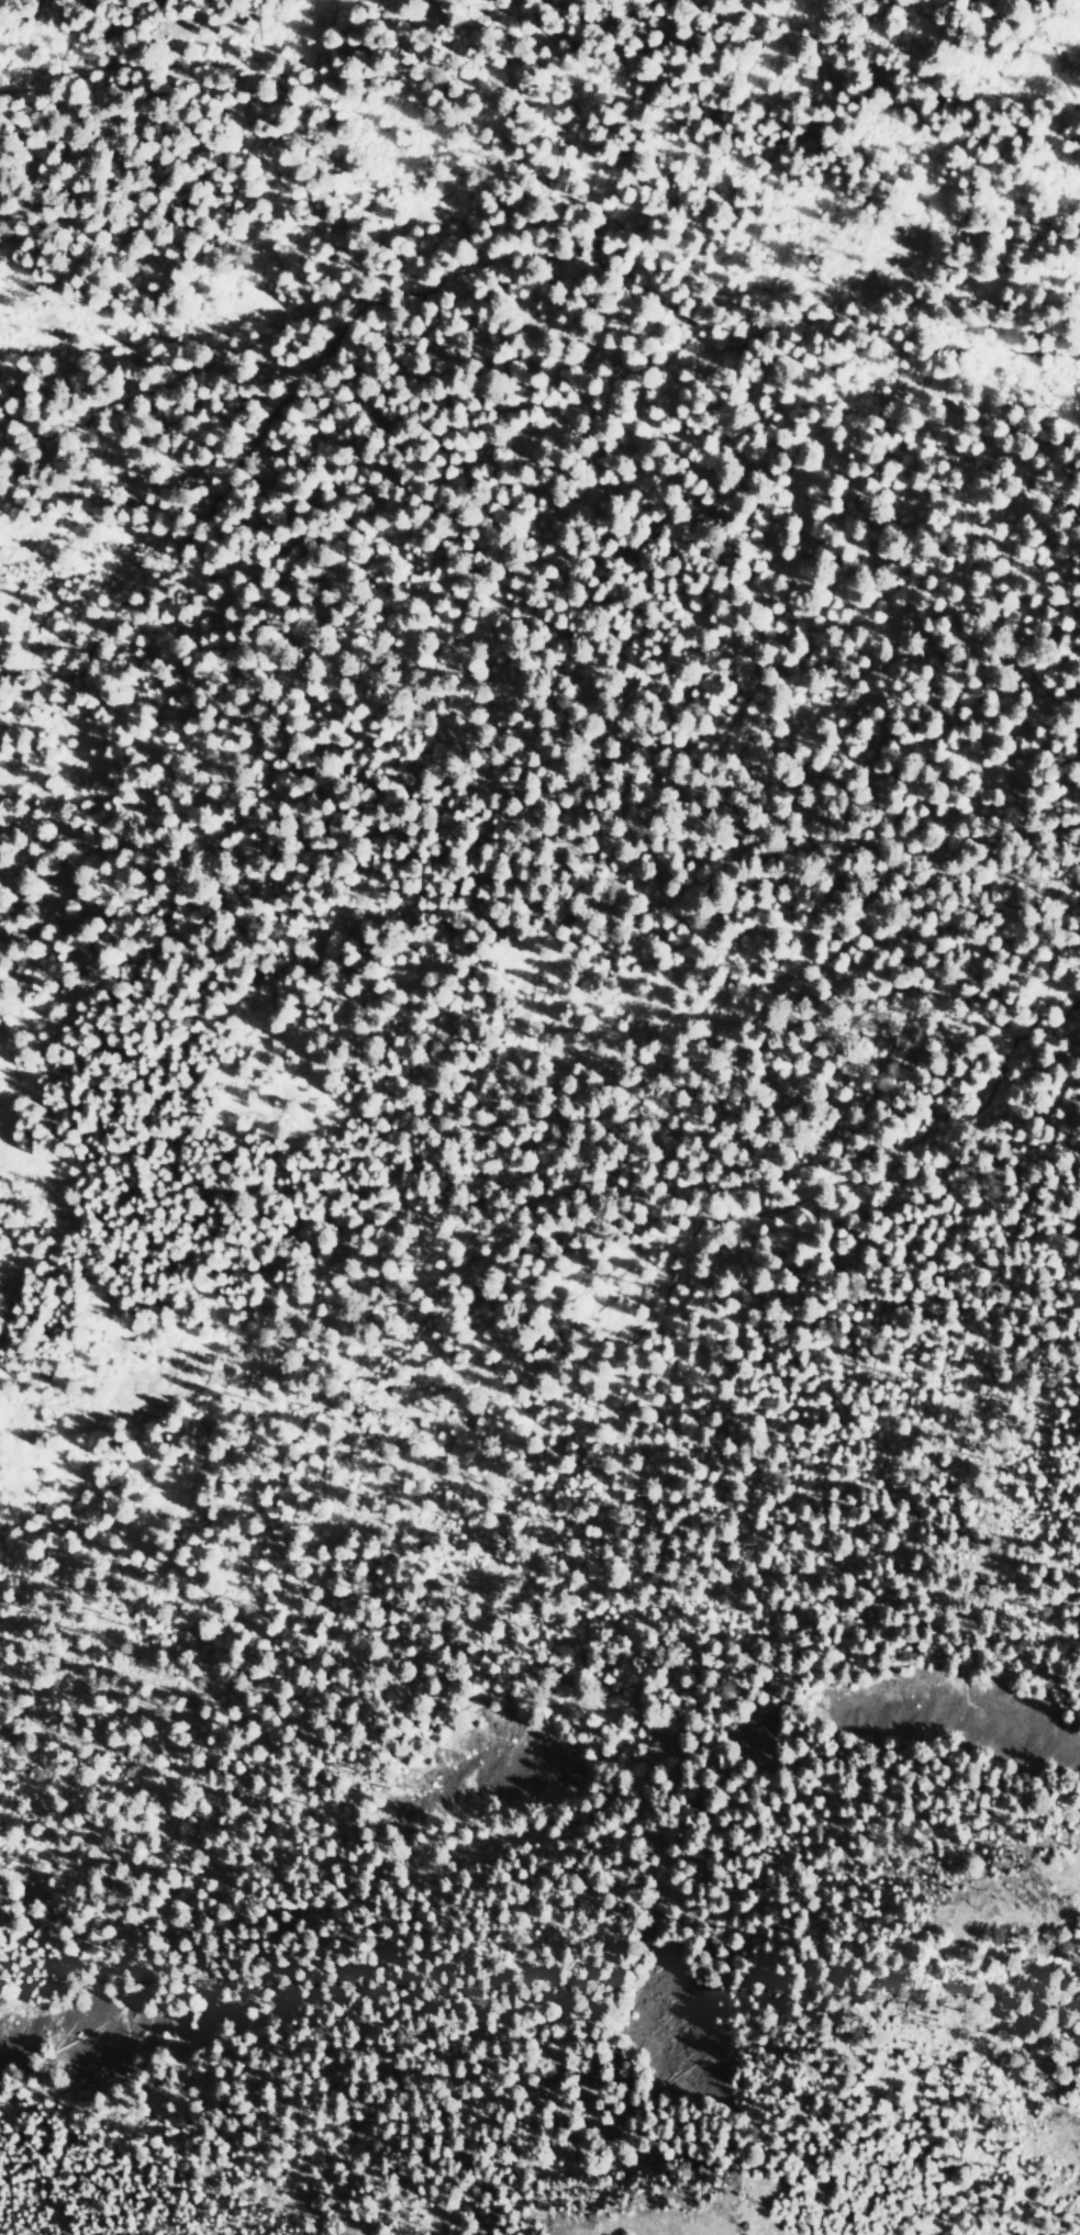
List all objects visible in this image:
road: (453, 1189)

